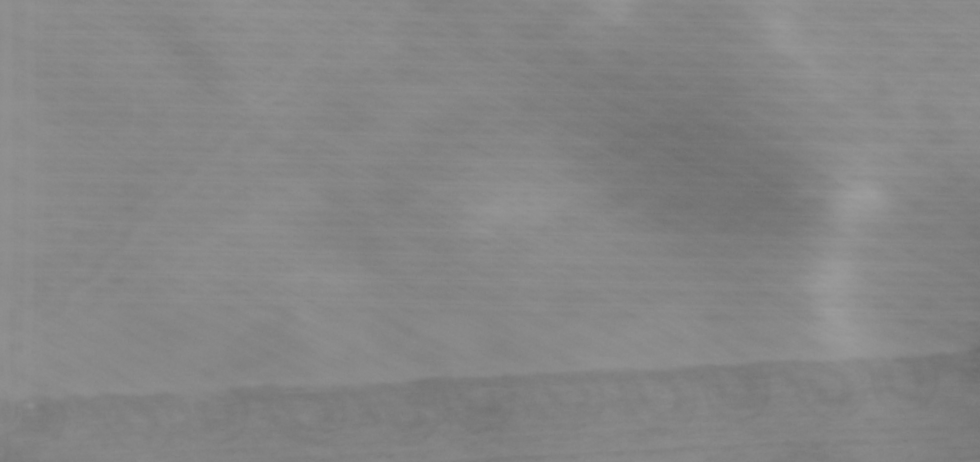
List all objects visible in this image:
crop: (475, 227)

